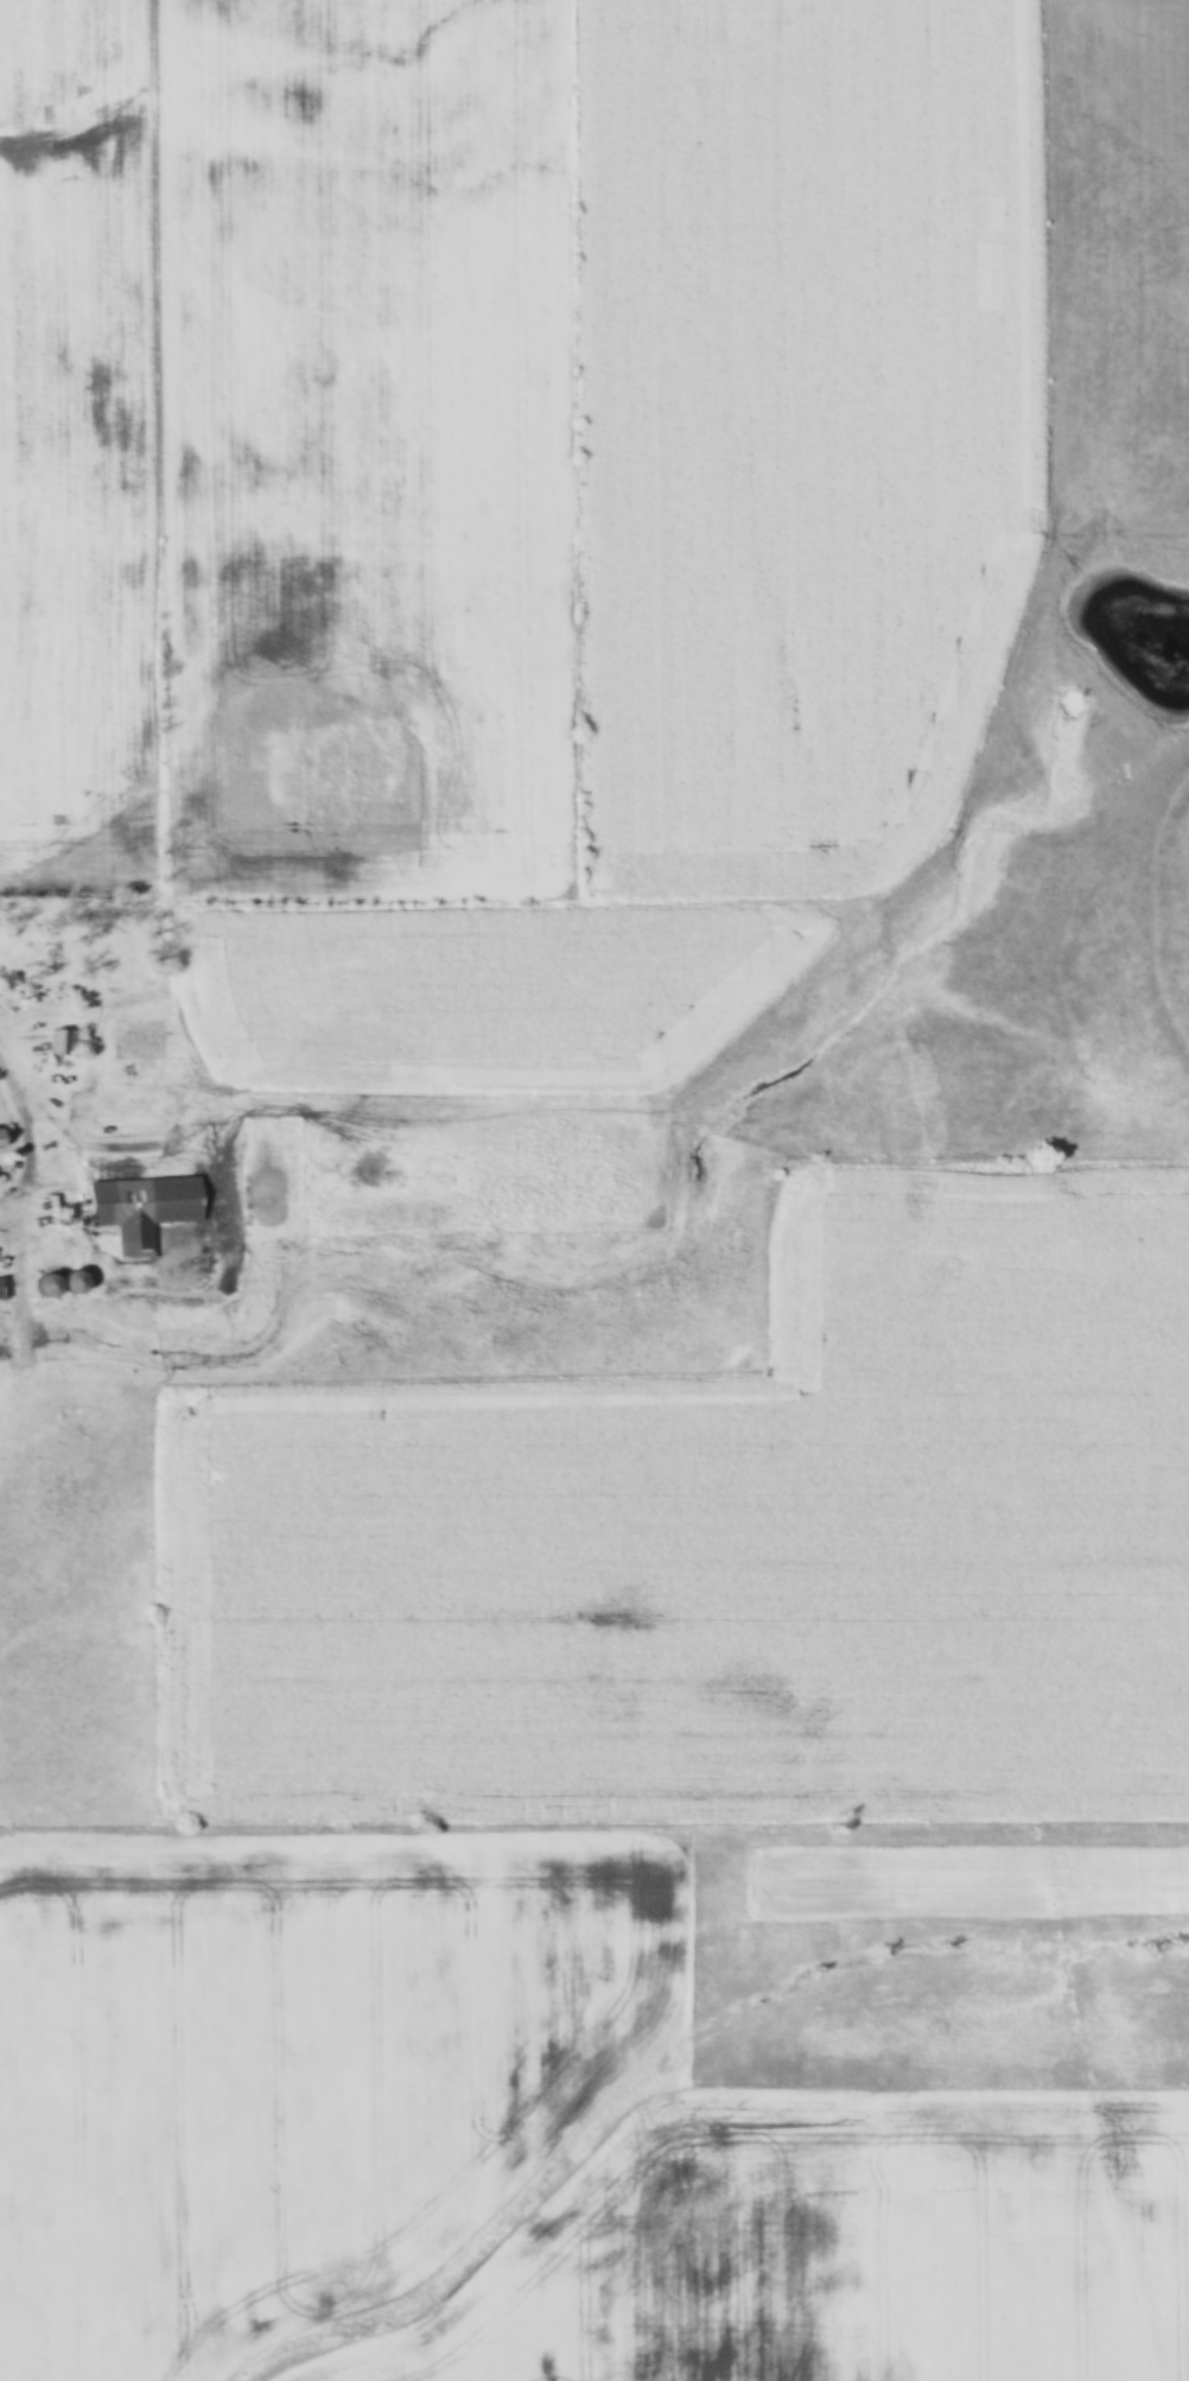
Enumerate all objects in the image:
building: (2, 1141)
building: (142, 1212)

